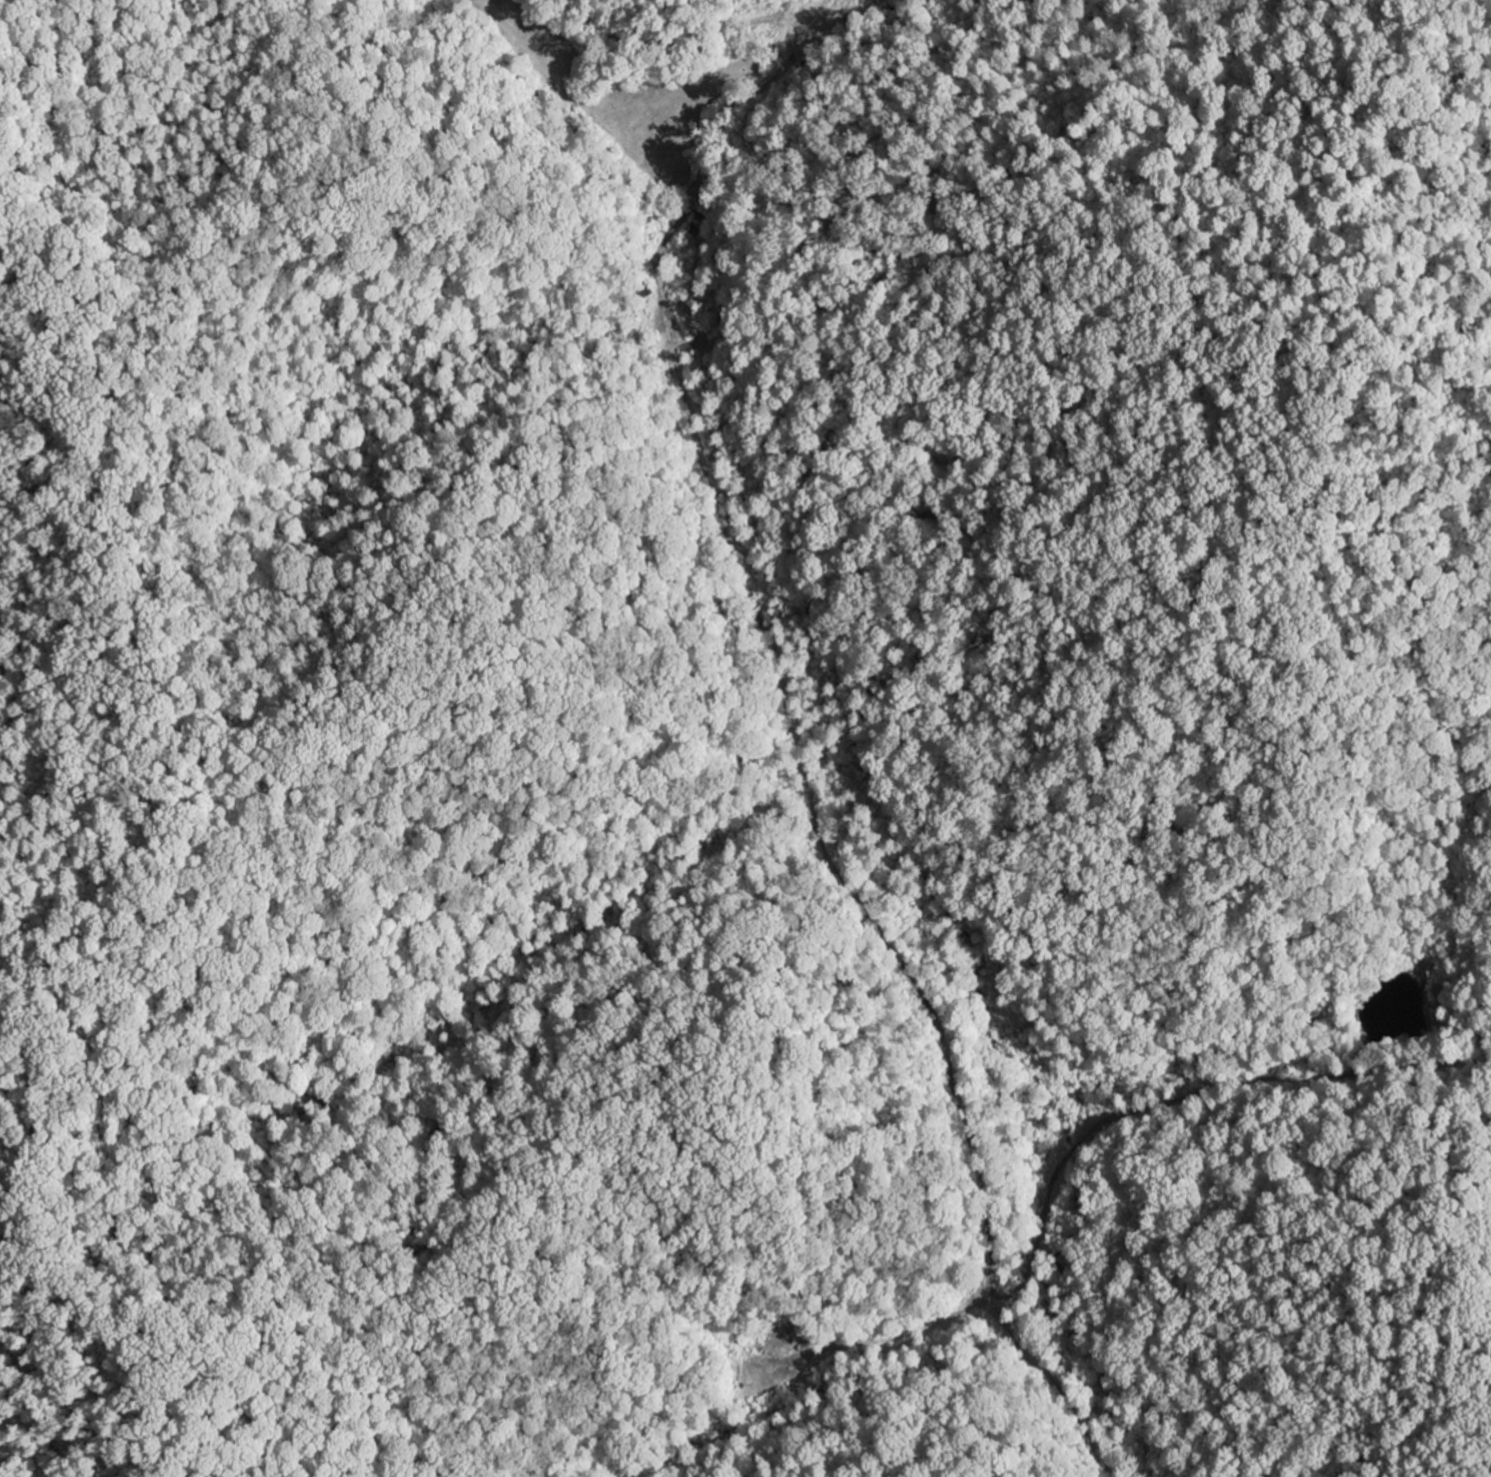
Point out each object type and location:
road: (671, 515)

